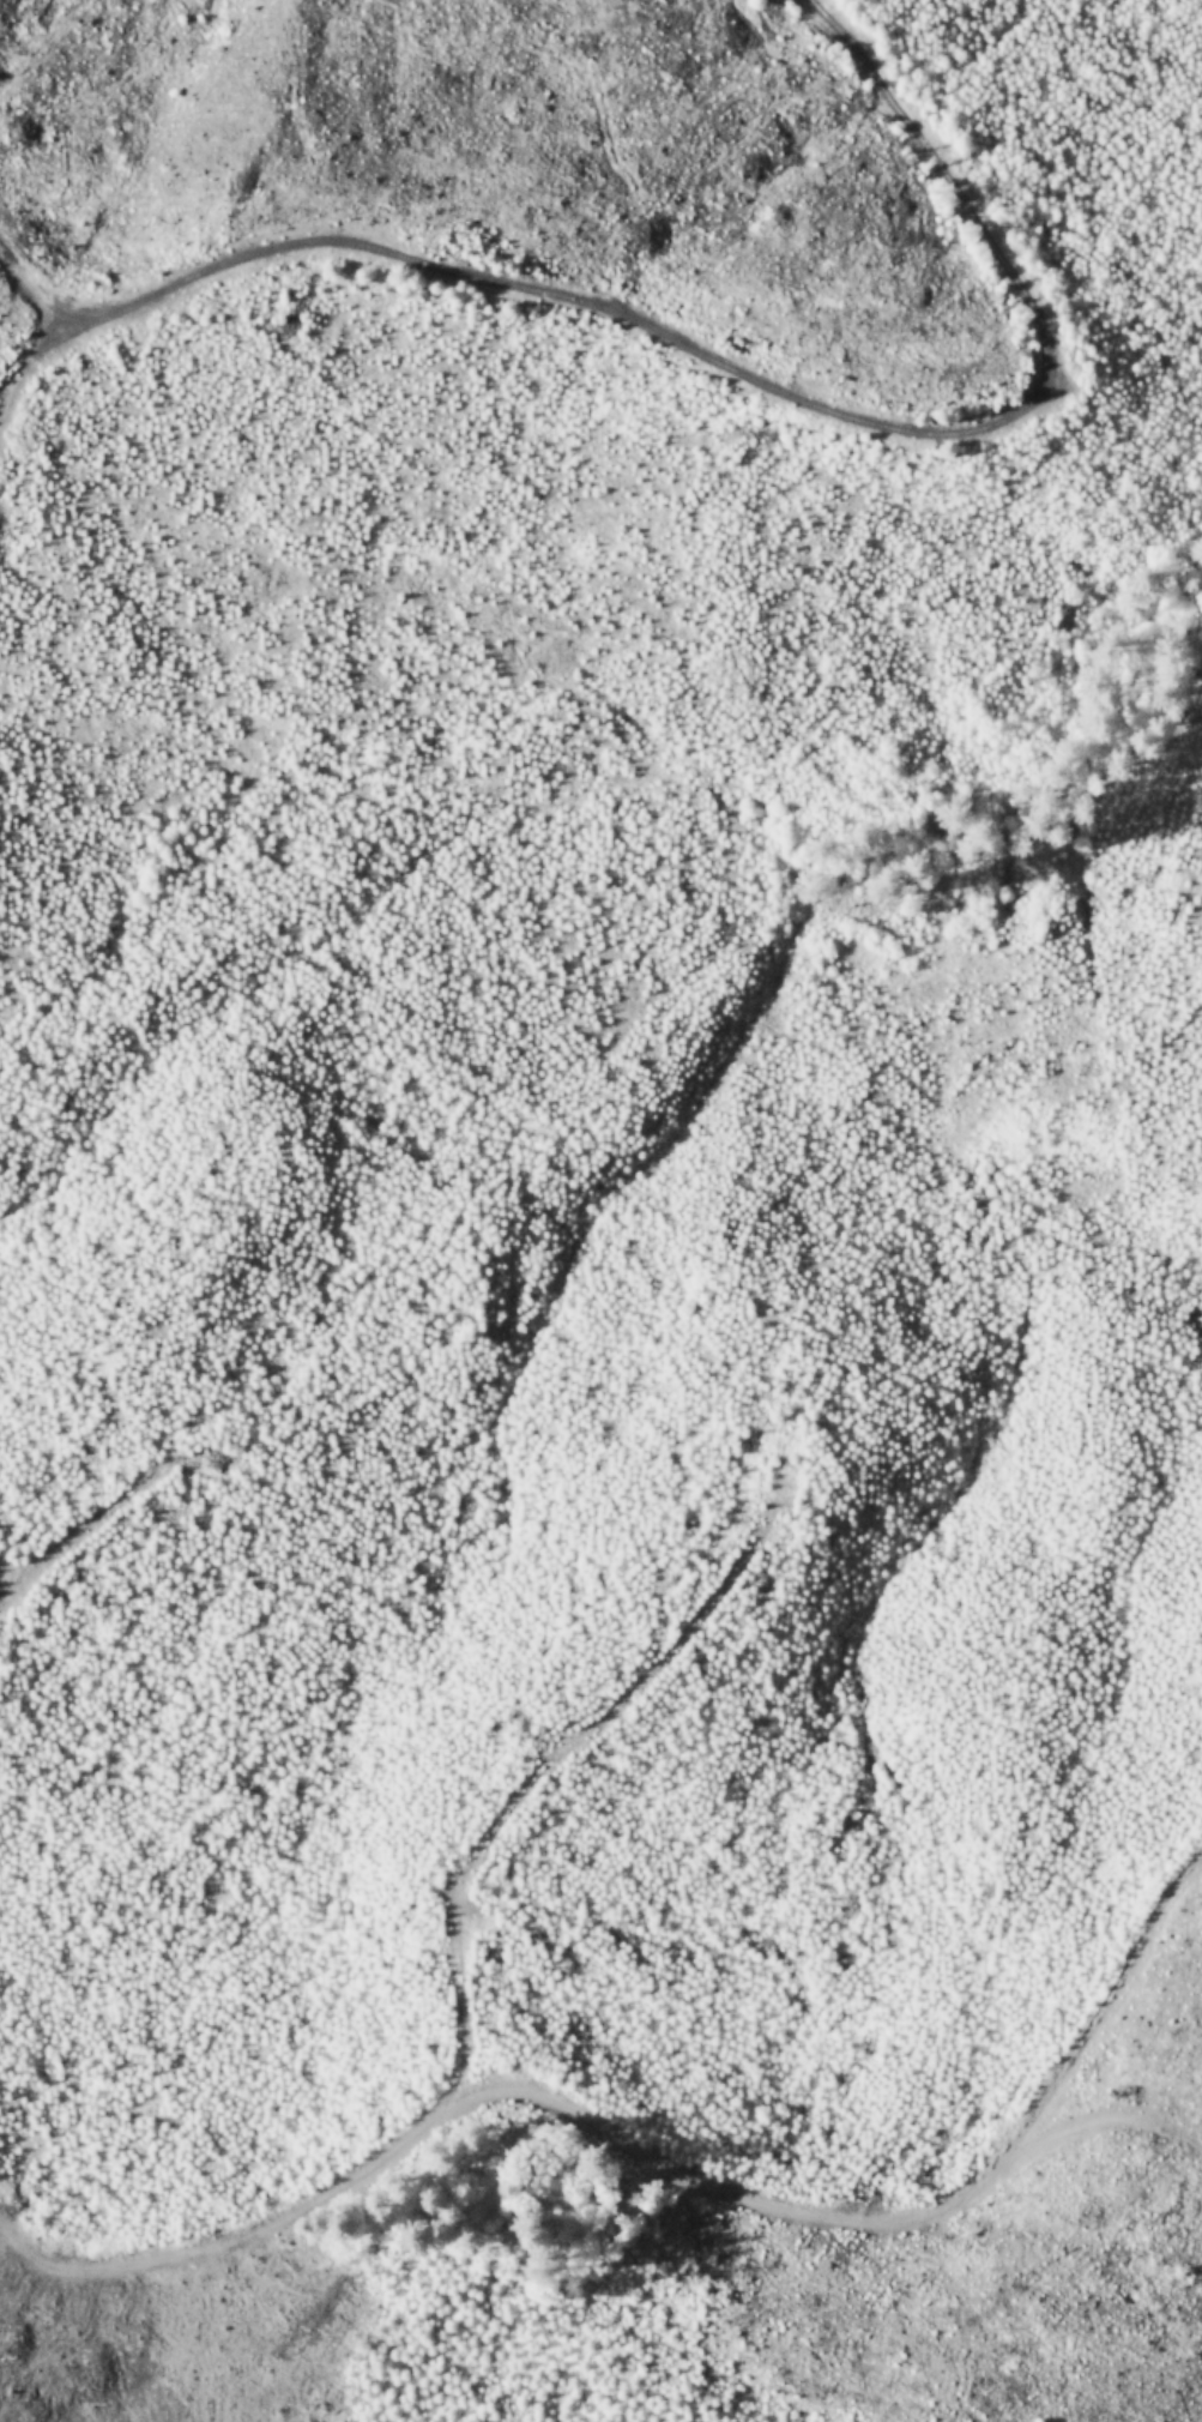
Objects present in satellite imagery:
road: (723, 364)
road: (84, 1528)
road: (460, 1996)
road: (898, 2215)

